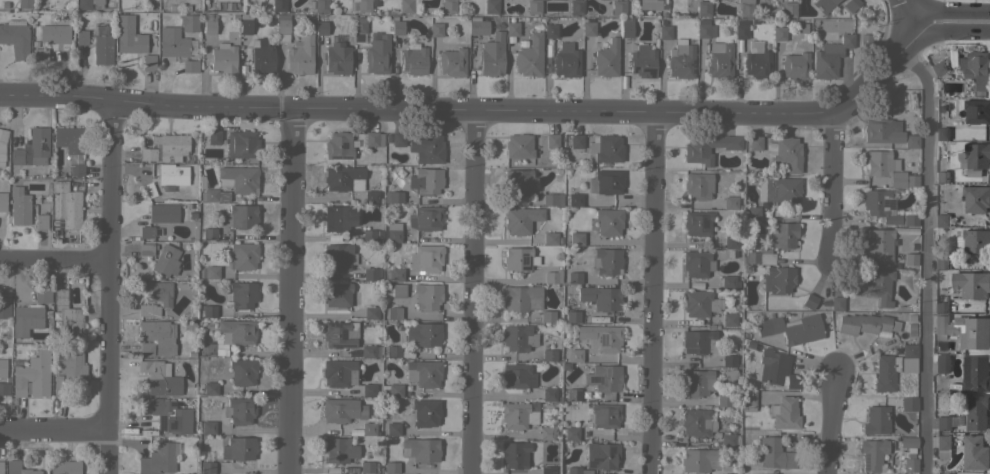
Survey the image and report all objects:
building: (226, 0)
building: (24, 4)
building: (89, 4)
building: (652, 4)
building: (851, 4)
building: (279, 5)
building: (823, 5)
building: (321, 6)
building: (363, 6)
building: (406, 6)
building: (448, 6)
building: (491, 6)
building: (533, 6)
building: (576, 7)
building: (618, 7)
building: (703, 8)
building: (745, 8)
building: (788, 10)
road: (906, 13)
building: (189, 23)
building: (359, 25)
building: (397, 25)
building: (245, 26)
building: (477, 26)
building: (209, 27)
building: (587, 27)
building: (626, 27)
building: (282, 28)
building: (321, 28)
building: (435, 28)
building: (512, 28)
building: (704, 29)
building: (740, 29)
building: (550, 31)
building: (664, 32)
building: (54, 34)
building: (779, 34)
building: (129, 35)
building: (16, 37)
building: (81, 37)
building: (865, 39)
building: (174, 43)
building: (102, 46)
building: (39, 54)
building: (301, 54)
building: (377, 54)
building: (492, 55)
building: (261, 56)
building: (529, 56)
building: (606, 57)
building: (830, 57)
building: (223, 58)
building: (337, 58)
building: (413, 59)
building: (681, 59)
building: (452, 60)
building: (566, 60)
building: (719, 60)
building: (642, 61)
building: (148, 62)
building: (757, 64)
building: (190, 66)
building: (795, 66)
building: (937, 67)
building: (976, 70)
building: (977, 112)
road: (515, 113)
building: (882, 130)
building: (942, 134)
building: (213, 137)
building: (373, 139)
building: (398, 139)
building: (551, 141)
building: (576, 141)
building: (911, 141)
building: (754, 143)
building: (242, 144)
building: (2, 145)
building: (171, 146)
building: (338, 146)
building: (519, 146)
building: (71, 147)
building: (426, 147)
building: (708, 147)
building: (32, 148)
building: (605, 148)
building: (785, 153)
building: (147, 154)
building: (974, 159)
building: (886, 168)
building: (173, 175)
building: (941, 177)
building: (344, 178)
building: (238, 179)
building: (426, 181)
building: (519, 182)
building: (605, 182)
building: (697, 185)
building: (147, 189)
building: (778, 189)
road: (835, 191)
building: (947, 194)
building: (213, 195)
building: (371, 196)
building: (393, 197)
building: (551, 199)
building: (574, 199)
building: (976, 199)
building: (2, 201)
building: (730, 202)
building: (66, 204)
rooftop solar panel: (890, 204)
building: (19, 205)
building: (885, 208)
building: (751, 212)
building: (163, 213)
building: (240, 216)
building: (339, 218)
building: (425, 218)
building: (521, 219)
building: (941, 220)
building: (41, 221)
building: (608, 221)
building: (697, 222)
building: (146, 232)
building: (393, 232)
building: (209, 233)
building: (368, 234)
building: (783, 234)
building: (550, 238)
building: (576, 238)
building: (732, 241)
building: (973, 242)
building: (879, 243)
building: (145, 249)
road: (925, 254)
building: (242, 256)
building: (337, 256)
building: (759, 256)
building: (425, 258)
building: (518, 258)
building: (910, 258)
road: (52, 260)
building: (165, 260)
building: (605, 260)
rooftop solar panel: (523, 263)
building: (695, 263)
building: (941, 264)
building: (210, 272)
building: (372, 274)
building: (393, 274)
building: (552, 276)
building: (574, 277)
building: (778, 279)
building: (728, 281)
building: (878, 285)
building: (971, 285)
road: (104, 287)
building: (398, 290)
building: (156, 292)
road: (289, 293)
road: (472, 293)
building: (242, 294)
building: (337, 294)
building: (42, 295)
road: (653, 295)
building: (426, 296)
building: (600, 297)
building: (521, 298)
building: (809, 300)
building: (4, 303)
building: (699, 303)
building: (836, 303)
building: (940, 306)
building: (146, 310)
building: (209, 311)
building: (371, 313)
building: (394, 313)
building: (68, 316)
building: (547, 316)
building: (572, 316)
building: (26, 319)
building: (729, 319)
building: (865, 323)
rooftop solar panel: (337, 324)
building: (791, 328)
building: (965, 330)
building: (236, 331)
building: (422, 333)
building: (339, 334)
rooftop solar panel: (343, 334)
building: (158, 336)
rooftop solar panel: (330, 336)
building: (518, 337)
building: (600, 337)
building: (696, 341)
rooftop solar panel: (341, 345)
building: (145, 349)
building: (208, 349)
building: (367, 351)
building: (393, 351)
building: (549, 355)
building: (575, 355)
building: (908, 358)
building: (728, 361)
building: (942, 364)
building: (771, 366)
building: (3, 367)
building: (68, 370)
building: (242, 371)
building: (339, 372)
building: (885, 372)
building: (424, 373)
building: (975, 374)
building: (32, 375)
building: (517, 376)
building: (159, 378)
building: (603, 378)
building: (791, 380)
building: (696, 383)
building: (4, 388)
building: (210, 388)
building: (392, 389)
building: (369, 390)
building: (549, 394)
building: (573, 394)
building: (726, 400)
building: (748, 401)
building: (908, 403)
building: (239, 410)
building: (338, 410)
building: (425, 412)
building: (784, 413)
building: (976, 413)
building: (167, 415)
building: (517, 415)
building: (604, 415)
building: (876, 420)
building: (695, 422)
building: (943, 423)
road: (827, 425)
building: (208, 427)
building: (368, 428)
building: (392, 428)
road: (51, 430)
building: (546, 433)
building: (571, 433)
building: (729, 440)
building: (942, 446)
building: (238, 448)
building: (421, 449)
building: (338, 450)
building: (774, 453)
building: (871, 453)
building: (909, 453)
building: (975, 453)
building: (515, 454)
building: (601, 455)
building: (158, 459)
building: (699, 460)
rooftop solar panel: (865, 462)
building: (1, 467)
building: (64, 467)
building: (206, 467)
building: (366, 467)
building: (391, 467)
building: (18, 468)
building: (547, 470)
building: (573, 470)
building: (582, 471)
rooftop solar panel: (552, 472)
rooftop solar panel: (545, 473)
building: (938, 473)

